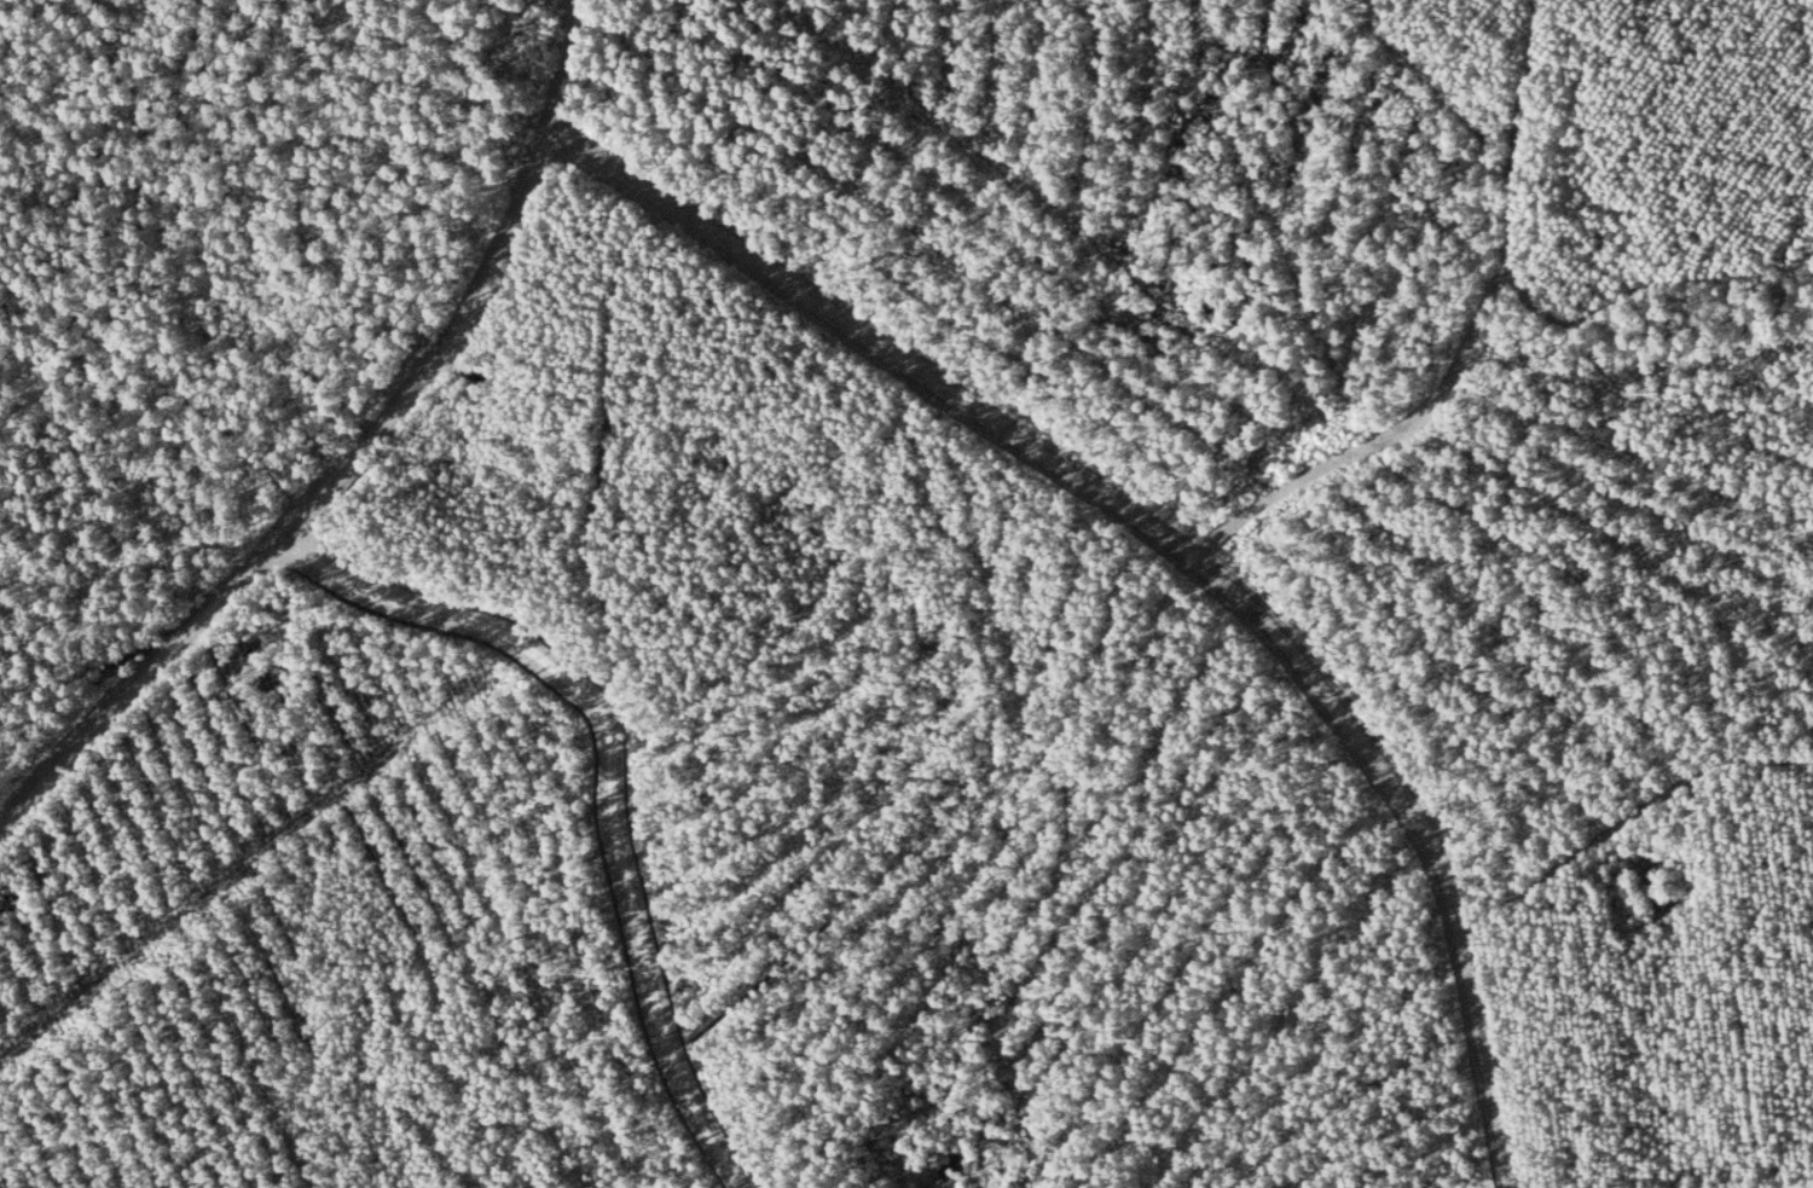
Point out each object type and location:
road: (325, 437)

